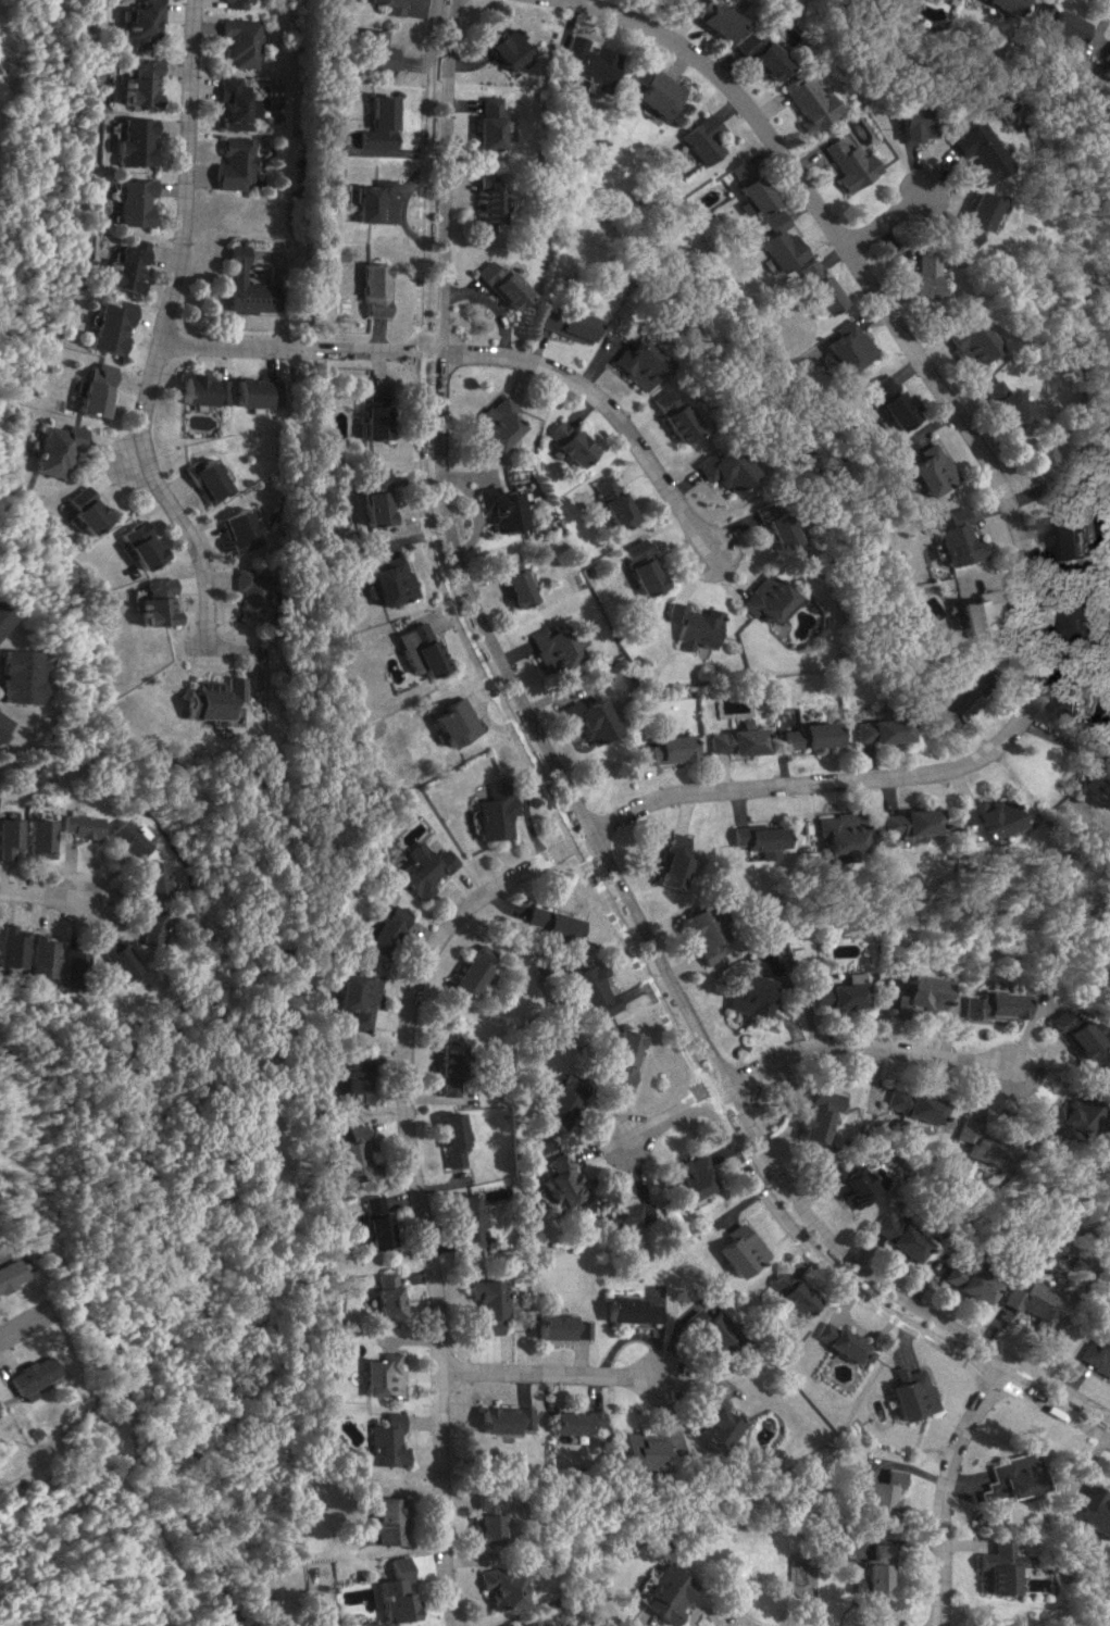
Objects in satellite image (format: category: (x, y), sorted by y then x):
building: (941, 0)
road: (1108, 0)
building: (230, 3)
building: (386, 5)
building: (1003, 5)
building: (709, 16)
building: (1056, 22)
building: (134, 23)
building: (238, 41)
building: (504, 48)
building: (373, 50)
building: (757, 55)
building: (589, 60)
building: (1106, 61)
building: (133, 82)
building: (654, 92)
building: (233, 103)
building: (803, 103)
building: (486, 122)
building: (375, 124)
building: (911, 124)
building: (698, 138)
building: (129, 141)
building: (978, 152)
building: (234, 163)
building: (845, 164)
building: (745, 188)
building: (485, 200)
building: (128, 201)
building: (369, 201)
building: (981, 211)
road: (883, 217)
building: (776, 242)
building: (121, 266)
building: (805, 271)
building: (923, 271)
building: (498, 284)
building: (244, 286)
building: (371, 288)
building: (820, 295)
road: (488, 305)
building: (563, 324)
building: (103, 326)
road: (155, 326)
building: (969, 342)
building: (845, 347)
road: (474, 354)
building: (635, 363)
building: (86, 390)
building: (197, 390)
building: (251, 392)
building: (890, 402)
building: (1006, 403)
building: (370, 412)
building: (669, 415)
building: (491, 423)
building: (564, 442)
building: (47, 448)
road: (122, 460)
building: (1042, 467)
building: (721, 468)
building: (926, 470)
building: (198, 479)
building: (372, 498)
building: (609, 501)
road: (1001, 506)
building: (496, 508)
building: (74, 510)
building: (233, 530)
building: (952, 539)
building: (1073, 540)
building: (129, 545)
building: (638, 568)
building: (386, 581)
building: (509, 581)
building: (244, 592)
building: (761, 598)
building: (146, 603)
building: (1082, 609)
building: (972, 615)
building: (2, 618)
building: (689, 626)
building: (549, 647)
building: (416, 650)
building: (17, 676)
building: (1082, 695)
building: (955, 696)
building: (201, 699)
building: (588, 720)
building: (1, 722)
building: (450, 722)
building: (875, 730)
building: (0, 735)
building: (806, 735)
building: (735, 741)
building: (1089, 781)
road: (573, 808)
building: (490, 813)
building: (978, 816)
road: (560, 822)
building: (900, 822)
building: (74, 825)
building: (833, 833)
building: (753, 837)
building: (7, 838)
building: (34, 838)
building: (122, 838)
building: (672, 861)
building: (417, 868)
building: (146, 878)
road: (36, 896)
building: (549, 923)
building: (142, 925)
building: (378, 930)
building: (702, 933)
building: (8, 947)
building: (34, 955)
building: (109, 959)
building: (64, 968)
building: (470, 970)
building: (591, 989)
building: (834, 993)
building: (916, 995)
building: (748, 996)
building: (351, 1000)
building: (985, 1005)
building: (1060, 1033)
road: (847, 1042)
building: (624, 1056)
building: (352, 1059)
building: (447, 1070)
building: (348, 1087)
building: (559, 1099)
building: (906, 1104)
building: (812, 1114)
building: (1060, 1115)
road: (663, 1117)
building: (448, 1139)
building: (974, 1145)
building: (345, 1154)
building: (691, 1177)
building: (557, 1181)
building: (847, 1184)
road: (408, 1195)
building: (621, 1214)
building: (463, 1218)
building: (369, 1222)
building: (895, 1237)
building: (740, 1250)
building: (7, 1273)
building: (963, 1283)
building: (790, 1292)
building: (379, 1296)
building: (484, 1304)
building: (1028, 1304)
building: (627, 1311)
road: (25, 1317)
building: (558, 1327)
building: (711, 1334)
building: (841, 1342)
building: (1093, 1355)
road: (540, 1372)
building: (372, 1375)
building: (23, 1376)
building: (910, 1393)
building: (497, 1419)
building: (569, 1422)
building: (710, 1425)
building: (373, 1441)
building: (633, 1451)
building: (1007, 1478)
road: (944, 1487)
building: (878, 1497)
building: (473, 1502)
building: (1089, 1511)
building: (372, 1521)
building: (474, 1529)
building: (993, 1568)
building: (874, 1572)
building: (489, 1589)
building: (381, 1591)
building: (659, 1593)
building: (519, 1623)
building: (492, 1624)

